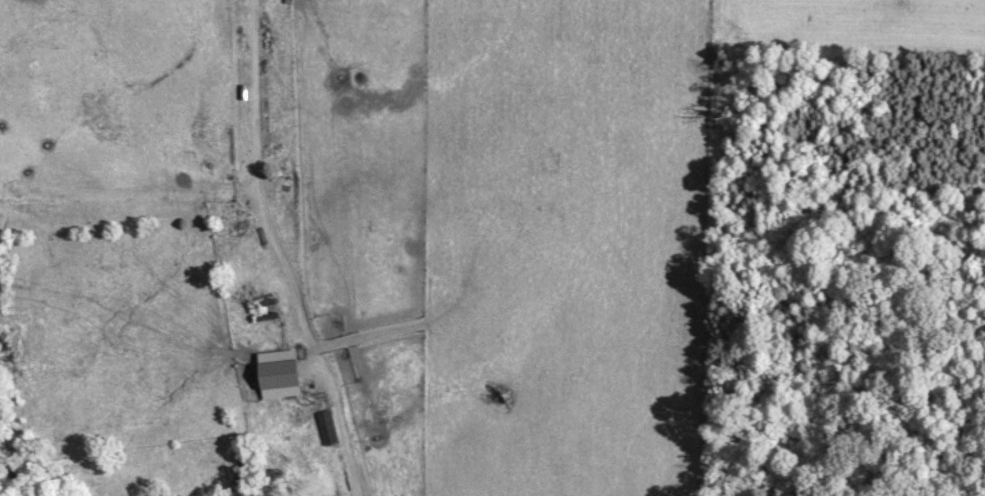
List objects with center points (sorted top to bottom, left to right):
road: (286, 251)
building: (269, 315)
building: (327, 426)

